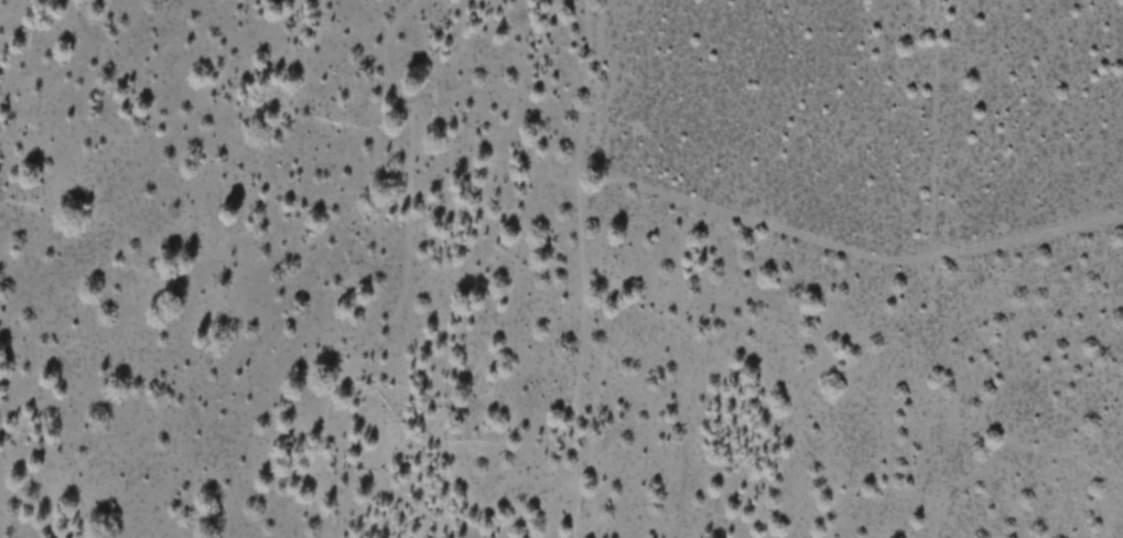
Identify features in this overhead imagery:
road: (575, 269)

